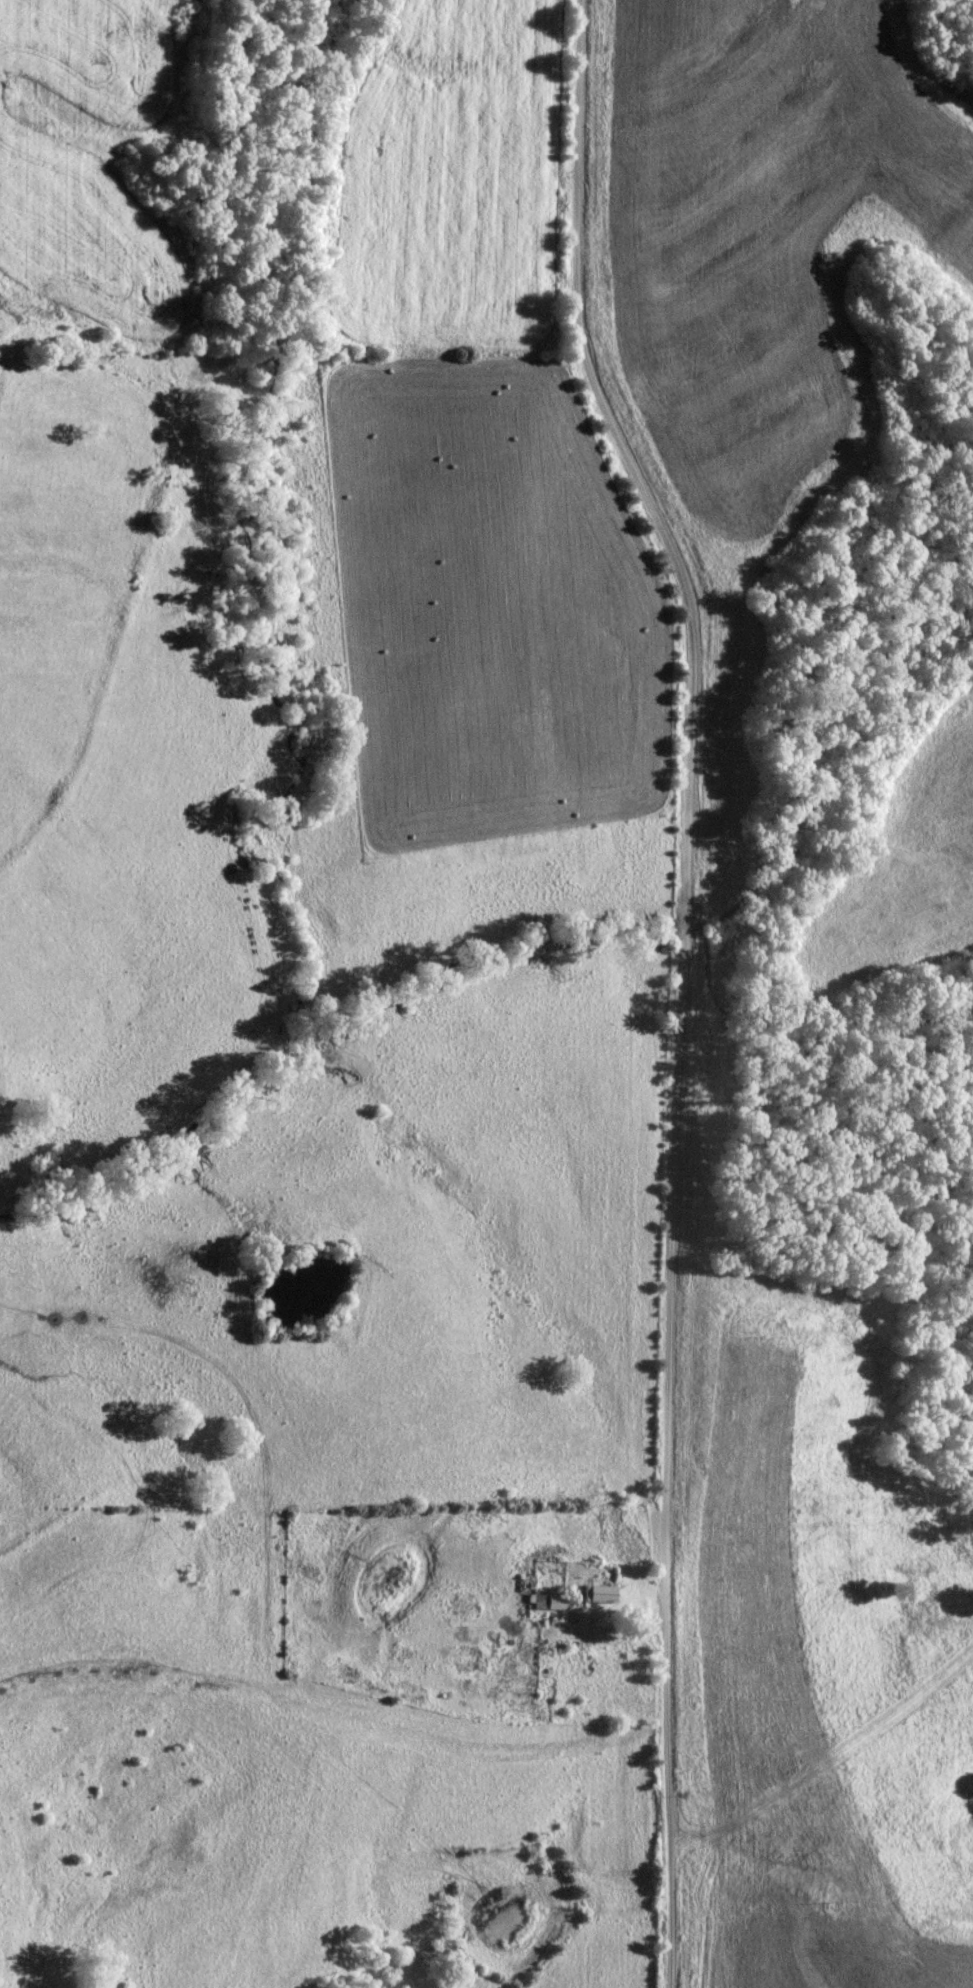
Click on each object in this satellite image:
road: (683, 982)
road: (333, 1502)
building: (600, 1593)
building: (549, 1601)
road: (611, 1644)
road: (831, 1764)

